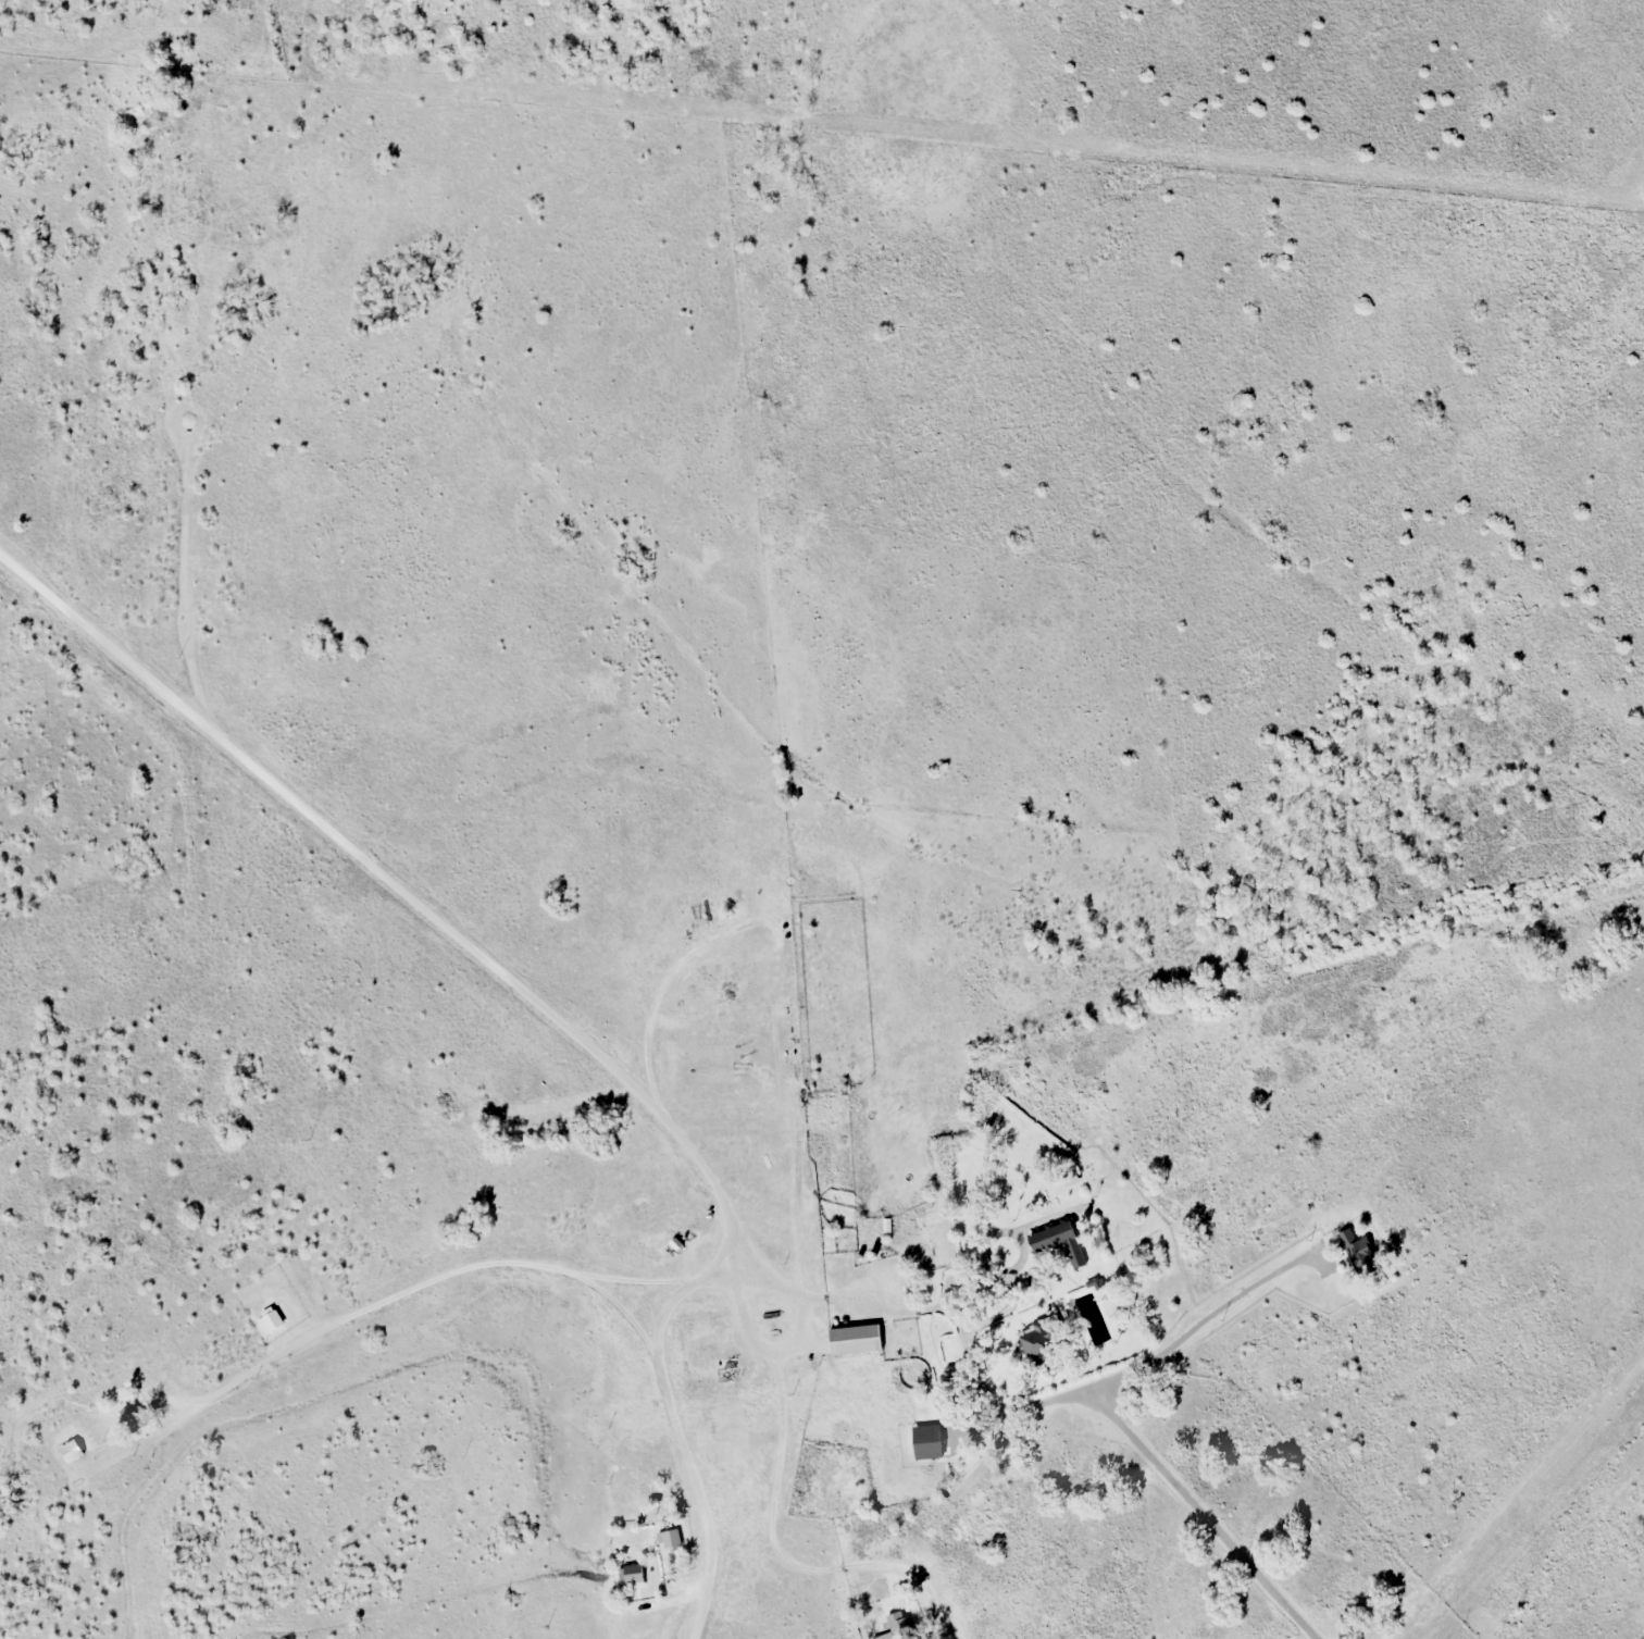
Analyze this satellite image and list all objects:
road: (77, 630)
road: (624, 1089)
building: (1059, 1242)
building: (1357, 1254)
building: (272, 1321)
building: (855, 1340)
building: (1036, 1346)
building: (708, 1352)
building: (133, 1419)
building: (724, 1442)
building: (927, 1442)
building: (71, 1452)
road: (1218, 1529)
building: (670, 1542)
building: (631, 1575)
building: (898, 1627)

